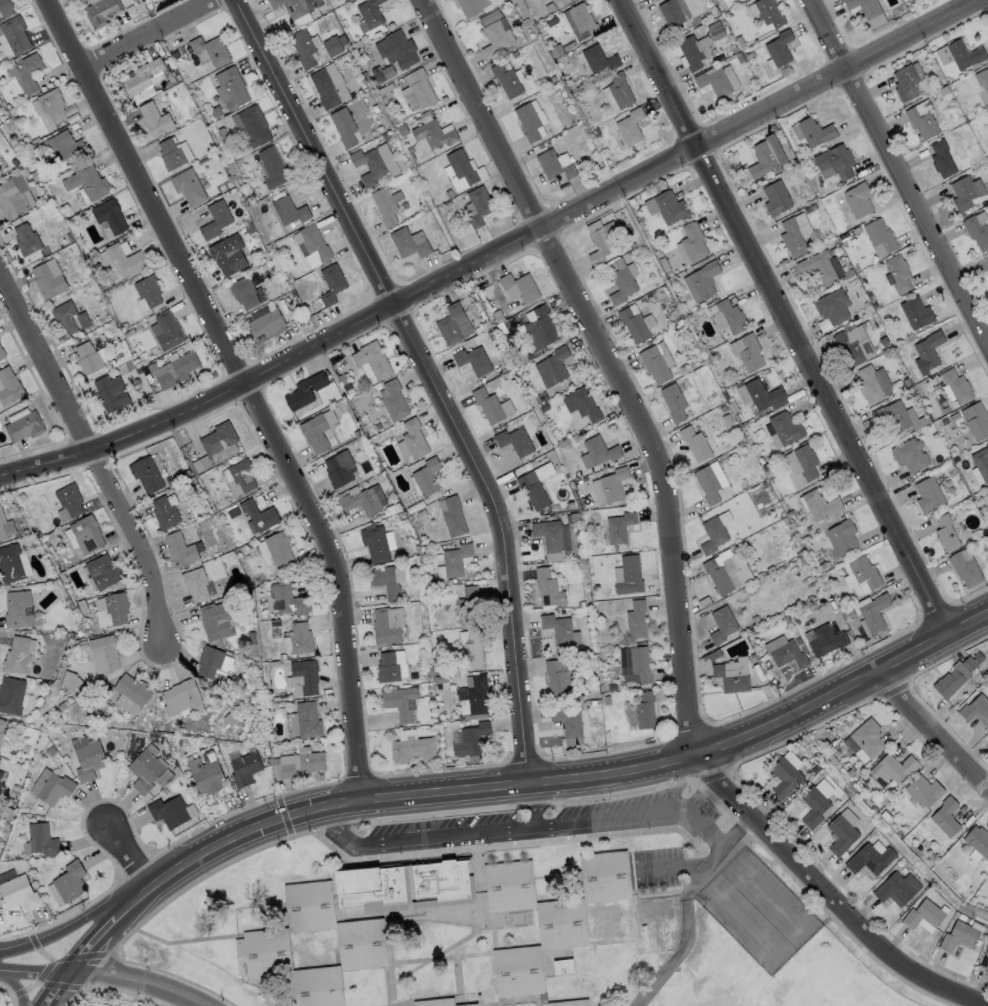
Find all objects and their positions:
building: (553, 0)
building: (569, 0)
building: (293, 6)
building: (5, 7)
building: (469, 7)
building: (864, 7)
building: (100, 11)
building: (768, 12)
building: (369, 13)
building: (673, 13)
building: (579, 20)
road: (147, 32)
building: (14, 34)
building: (495, 37)
building: (332, 46)
building: (303, 47)
building: (778, 47)
building: (210, 49)
building: (396, 49)
building: (690, 52)
building: (965, 53)
building: (598, 59)
building: (25, 70)
building: (141, 76)
building: (982, 78)
building: (506, 79)
building: (713, 81)
building: (907, 83)
building: (231, 87)
building: (324, 88)
building: (416, 90)
building: (619, 90)
building: (51, 104)
building: (154, 119)
building: (922, 119)
building: (527, 120)
building: (344, 126)
building: (629, 126)
building: (252, 127)
building: (812, 131)
building: (433, 134)
building: (61, 146)
building: (170, 153)
building: (765, 156)
building: (941, 158)
building: (835, 160)
building: (552, 165)
building: (461, 166)
building: (272, 167)
building: (373, 167)
building: (0, 169)
road: (899, 174)
building: (86, 181)
building: (188, 186)
road: (144, 189)
building: (963, 193)
building: (775, 197)
building: (6, 198)
building: (857, 199)
building: (384, 205)
building: (478, 205)
building: (669, 207)
building: (288, 210)
building: (109, 215)
building: (215, 219)
building: (977, 229)
building: (879, 235)
building: (791, 237)
building: (25, 239)
building: (314, 241)
building: (692, 241)
building: (408, 242)
building: (601, 242)
building: (299, 244)
road: (496, 250)
building: (227, 254)
building: (987, 256)
building: (124, 259)
building: (816, 266)
building: (987, 270)
building: (897, 272)
building: (48, 279)
building: (701, 281)
building: (331, 282)
building: (621, 285)
building: (519, 287)
building: (148, 290)
building: (245, 292)
building: (832, 306)
building: (916, 312)
building: (69, 317)
building: (728, 317)
road: (781, 317)
building: (453, 324)
building: (266, 325)
building: (633, 325)
building: (540, 328)
building: (166, 330)
building: (848, 348)
building: (746, 351)
building: (927, 351)
building: (1, 352)
building: (1, 356)
building: (87, 357)
building: (372, 360)
building: (473, 360)
building: (654, 364)
building: (552, 367)
building: (175, 369)
road: (434, 378)
building: (868, 384)
building: (956, 385)
building: (9, 386)
building: (304, 390)
building: (110, 392)
building: (758, 394)
building: (393, 399)
building: (673, 402)
building: (584, 404)
building: (488, 405)
building: (892, 415)
building: (975, 421)
building: (23, 426)
building: (785, 428)
building: (314, 433)
building: (218, 438)
building: (413, 438)
building: (514, 441)
building: (694, 443)
building: (599, 450)
building: (910, 454)
road: (95, 455)
building: (806, 461)
building: (981, 462)
building: (339, 468)
building: (145, 474)
building: (242, 475)
building: (426, 476)
building: (707, 484)
building: (609, 485)
building: (532, 490)
building: (987, 493)
building: (927, 494)
building: (987, 497)
building: (69, 499)
building: (361, 502)
building: (580, 502)
building: (819, 505)
building: (232, 510)
building: (164, 512)
building: (790, 512)
building: (257, 515)
building: (574, 516)
building: (452, 517)
building: (1, 526)
building: (620, 526)
building: (24, 531)
building: (716, 531)
building: (947, 532)
building: (86, 533)
building: (51, 536)
building: (843, 536)
building: (550, 537)
road: (673, 539)
building: (377, 542)
building: (179, 549)
building: (275, 550)
building: (454, 560)
building: (10, 563)
building: (823, 567)
building: (967, 568)
building: (102, 571)
building: (728, 572)
building: (862, 574)
building: (628, 575)
road: (337, 580)
building: (385, 581)
building: (429, 582)
building: (195, 583)
building: (549, 587)
building: (285, 599)
building: (81, 605)
building: (468, 605)
building: (18, 609)
building: (112, 609)
building: (875, 612)
building: (637, 618)
building: (787, 618)
building: (217, 619)
building: (755, 619)
building: (274, 623)
building: (723, 623)
building: (387, 624)
building: (560, 629)
building: (875, 637)
building: (251, 638)
building: (297, 638)
building: (799, 640)
building: (827, 640)
building: (82, 643)
building: (785, 651)
building: (103, 653)
building: (19, 654)
building: (472, 655)
building: (979, 655)
building: (281, 656)
building: (214, 661)
building: (969, 662)
building: (272, 663)
building: (284, 663)
building: (635, 664)
building: (387, 667)
building: (734, 674)
building: (411, 675)
building: (303, 677)
building: (440, 678)
building: (562, 678)
building: (69, 680)
building: (949, 682)
building: (429, 686)
building: (613, 687)
road: (846, 689)
building: (131, 693)
building: (11, 695)
building: (181, 697)
building: (474, 697)
building: (606, 699)
building: (401, 702)
building: (594, 702)
building: (61, 704)
building: (976, 708)
building: (645, 710)
building: (307, 719)
building: (570, 724)
building: (40, 727)
building: (1, 728)
road: (930, 731)
building: (986, 736)
building: (865, 737)
building: (469, 739)
building: (412, 746)
building: (215, 749)
building: (50, 750)
building: (87, 756)
building: (64, 757)
building: (298, 763)
building: (893, 767)
building: (146, 768)
building: (244, 768)
building: (0, 771)
building: (786, 772)
building: (852, 774)
building: (163, 777)
building: (208, 777)
building: (50, 786)
building: (923, 789)
building: (163, 790)
building: (14, 793)
road: (412, 798)
building: (815, 801)
building: (874, 807)
road: (536, 809)
building: (169, 812)
building: (947, 814)
building: (885, 815)
traffic signals: (286, 817)
road: (531, 830)
building: (842, 830)
building: (41, 839)
building: (977, 842)
road: (124, 850)
building: (869, 858)
building: (607, 878)
building: (442, 882)
building: (67, 883)
building: (510, 887)
building: (897, 887)
building: (373, 889)
building: (18, 893)
road: (126, 903)
building: (309, 906)
building: (924, 915)
building: (562, 927)
road: (71, 929)
building: (959, 935)
road: (92, 945)
building: (362, 945)
building: (265, 955)
building: (985, 961)
building: (564, 967)
road: (34, 970)
building: (520, 975)
park: (779, 980)
road: (136, 983)
road: (15, 987)
road: (55, 989)
building: (318, 991)
building: (441, 1002)

